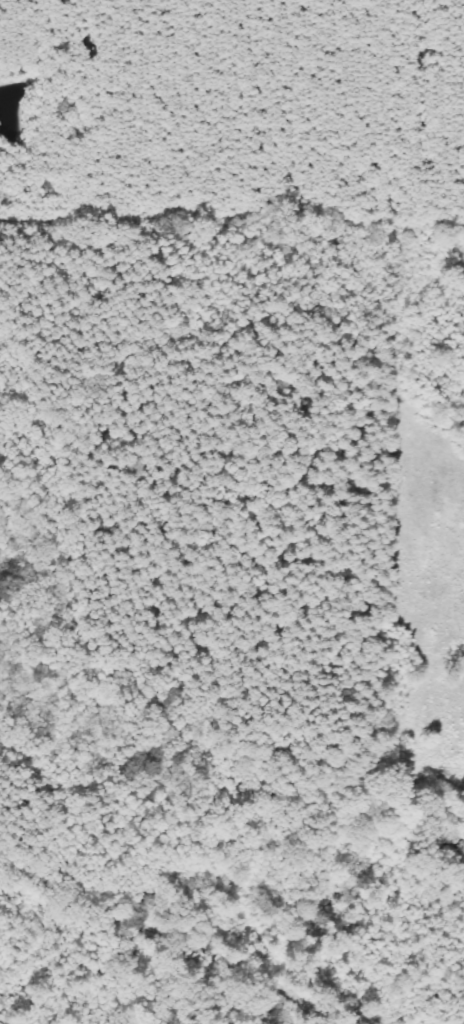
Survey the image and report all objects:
road: (157, 935)

